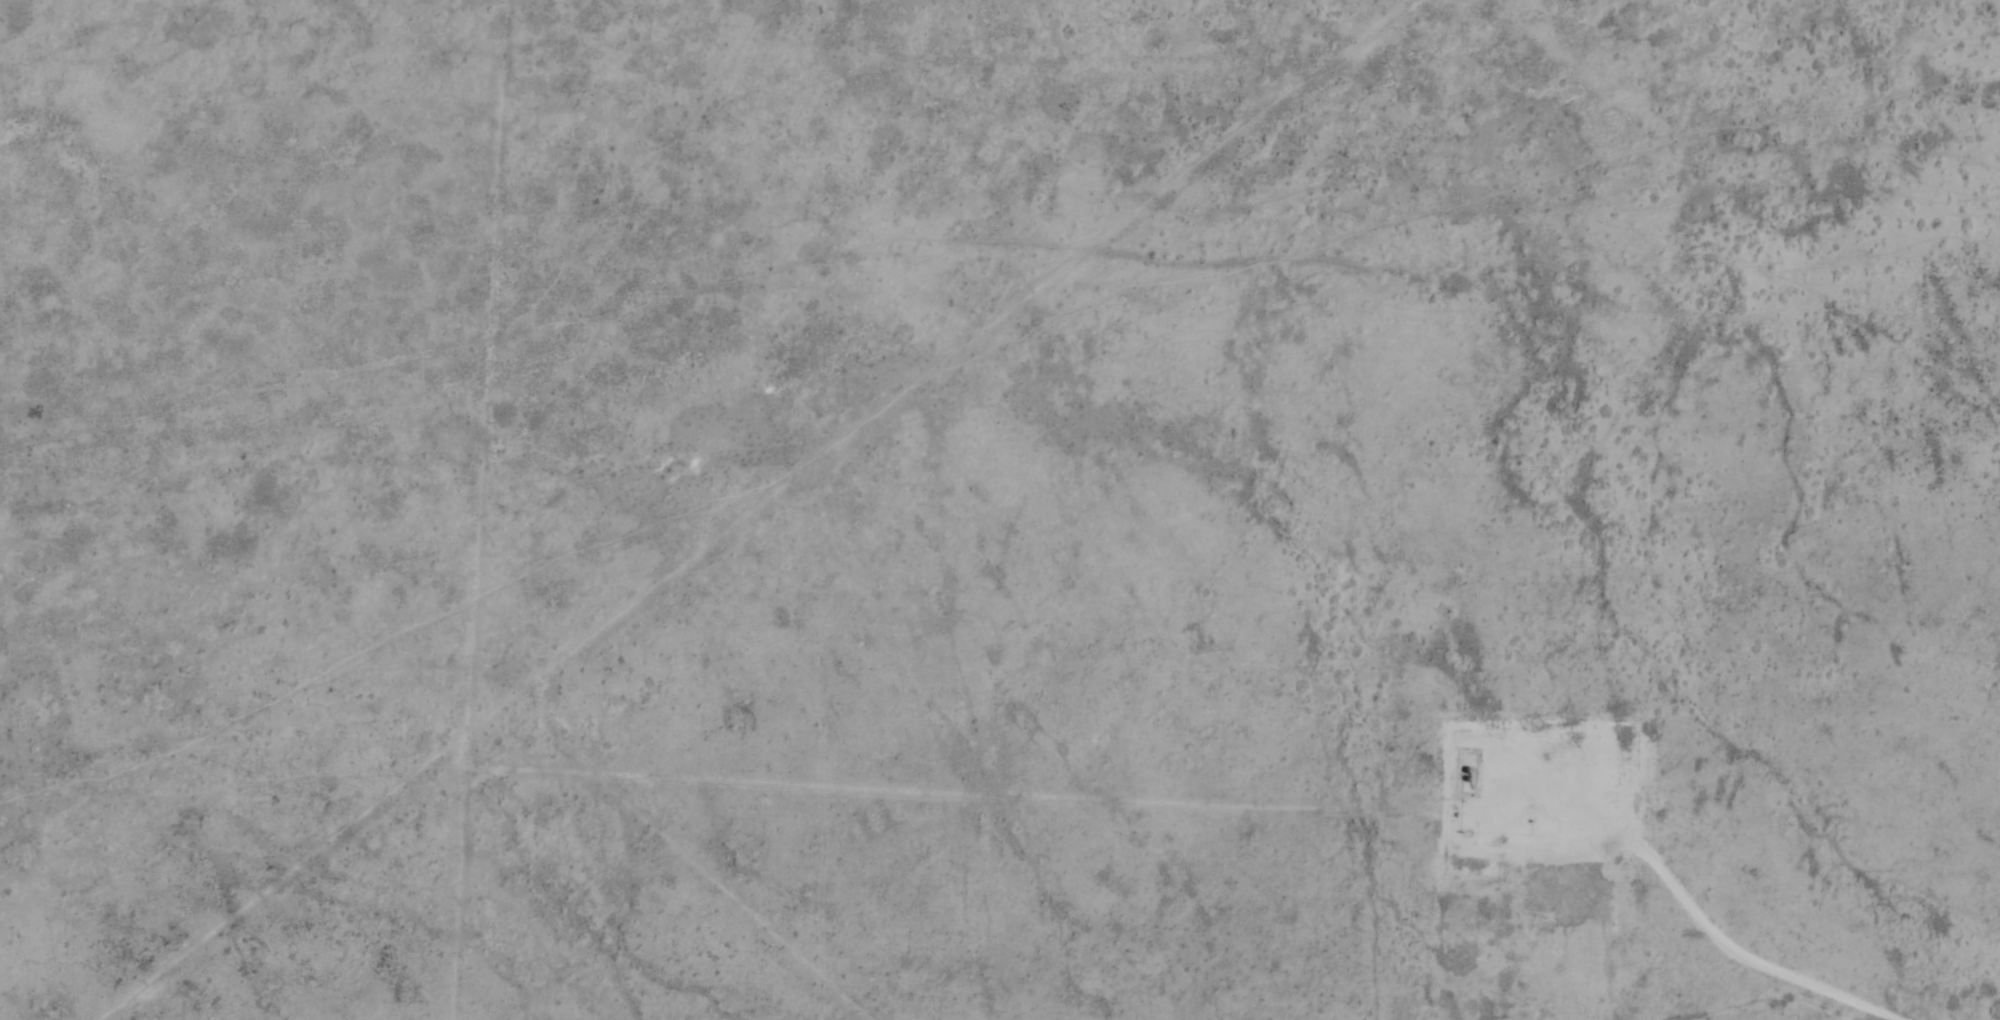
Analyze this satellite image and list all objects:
petroleum well: (1503, 782)
road: (1715, 931)

